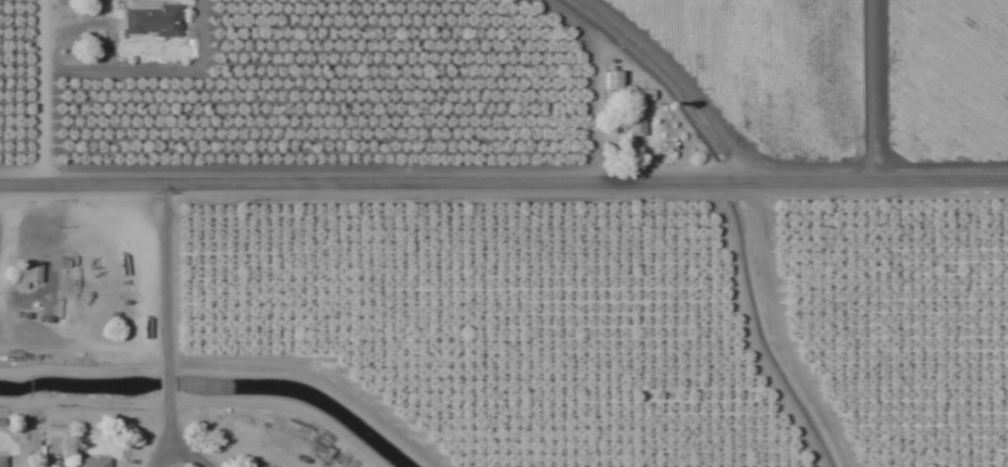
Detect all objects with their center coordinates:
building: (151, 20)
road: (39, 87)
building: (610, 92)
building: (635, 126)
road: (503, 174)
crop: (504, 233)
building: (28, 276)
road: (162, 321)
building: (1, 462)
building: (91, 463)

